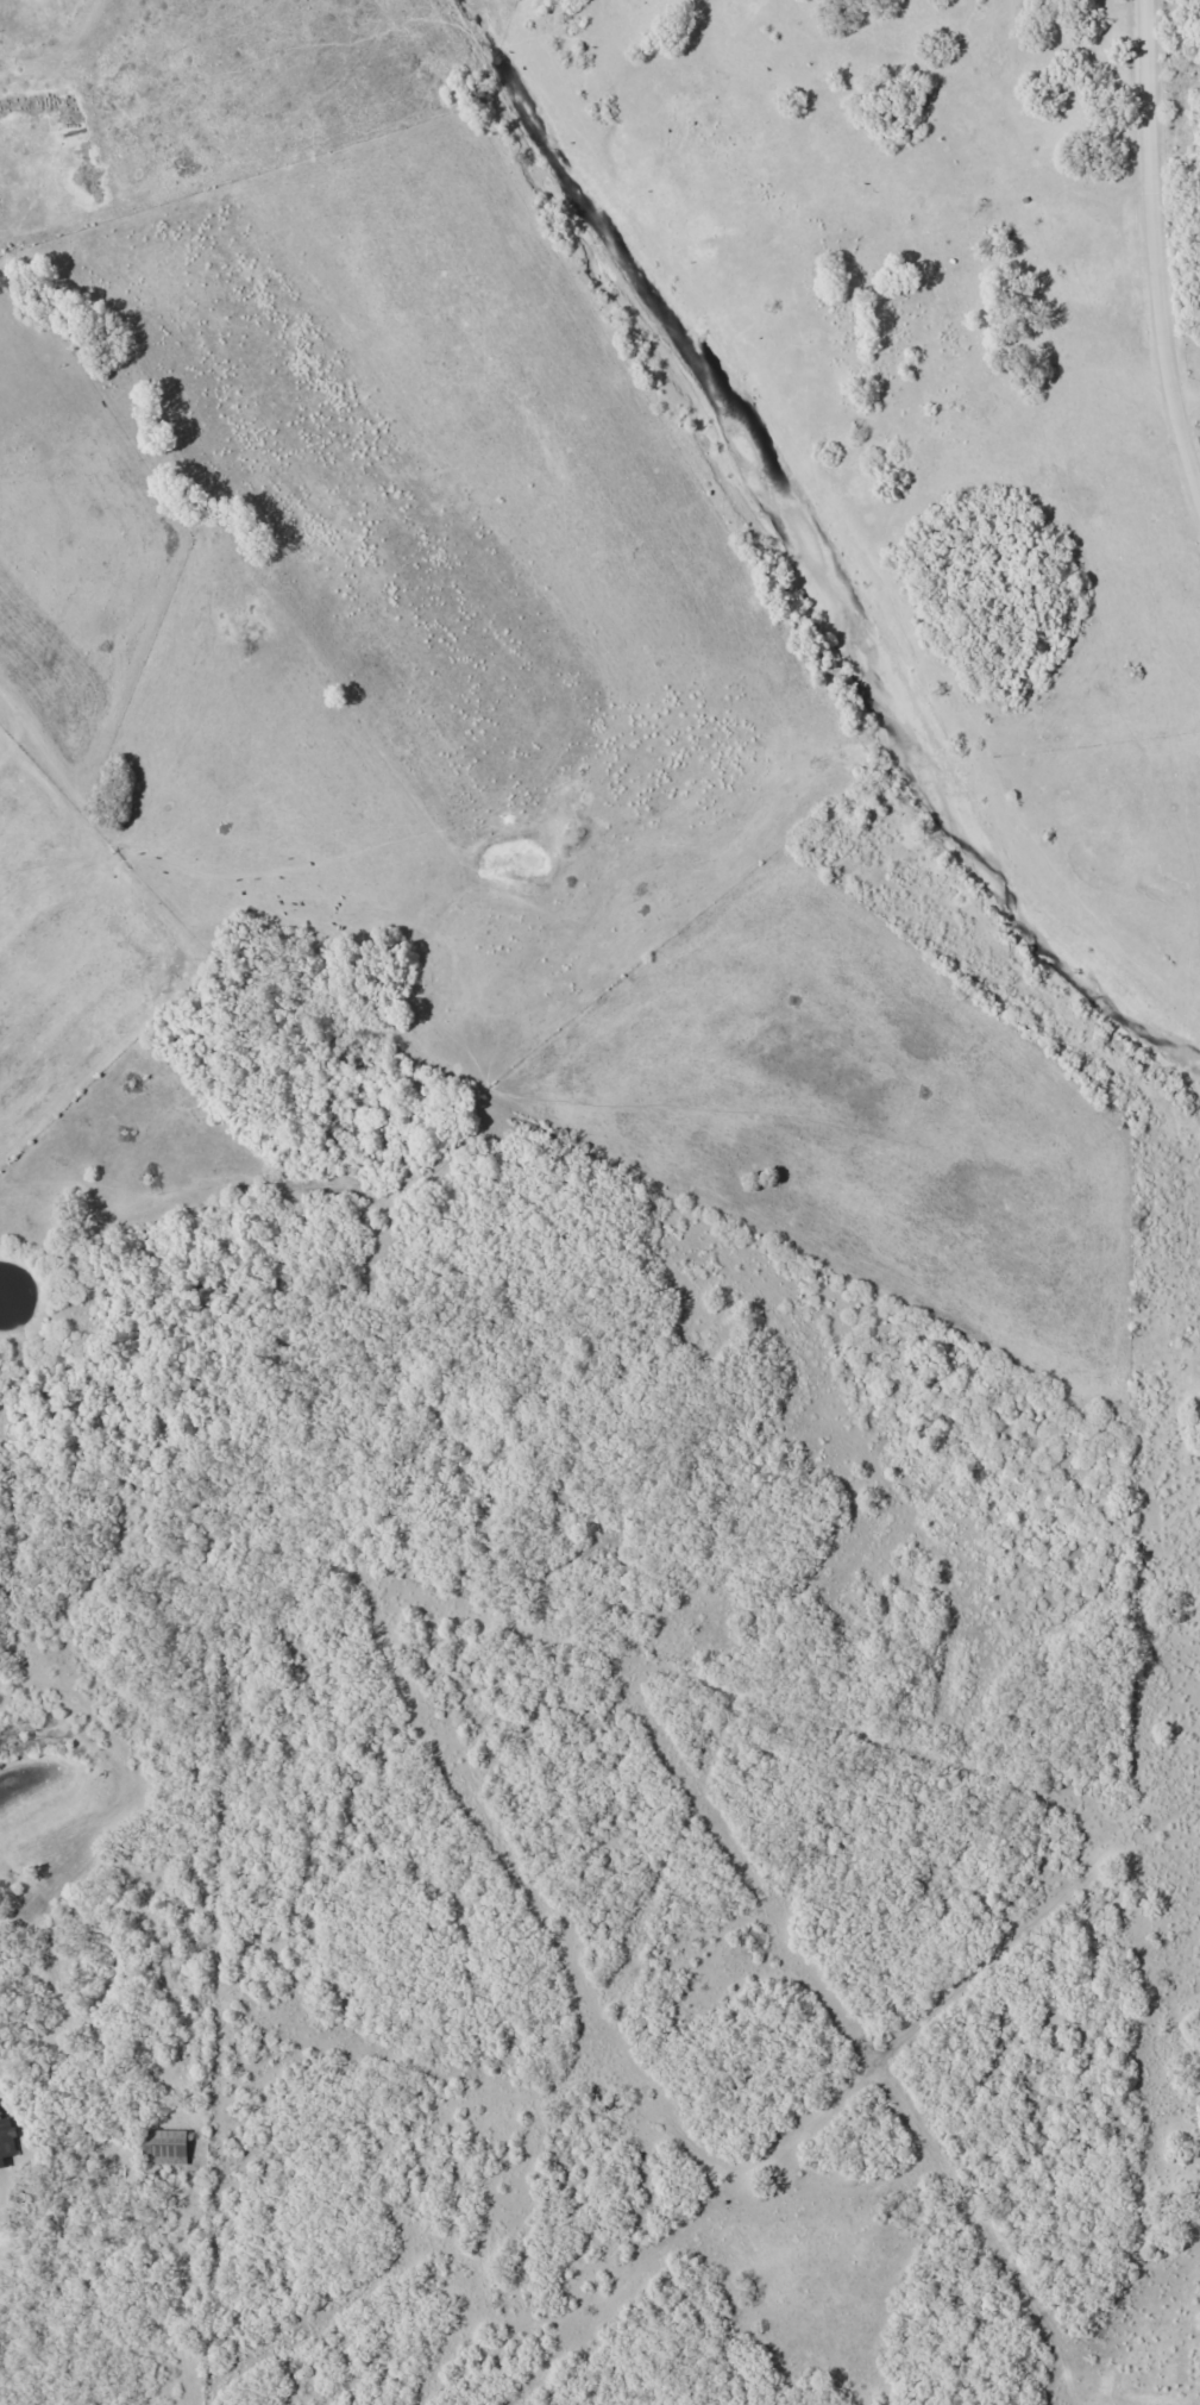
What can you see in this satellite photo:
road: (1163, 236)
road: (0, 693)
building: (6, 2142)
building: (167, 2147)

